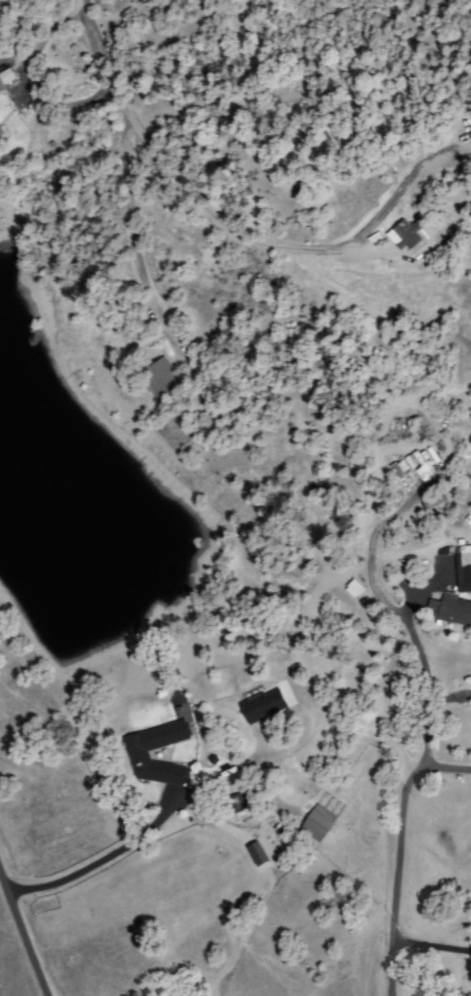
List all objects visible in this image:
road: (280, 71)
building: (7, 81)
building: (1, 88)
road: (102, 90)
building: (1, 92)
building: (408, 235)
building: (196, 367)
building: (163, 378)
building: (420, 460)
building: (397, 467)
building: (431, 499)
building: (464, 565)
building: (353, 588)
building: (453, 611)
building: (331, 668)
building: (264, 707)
building: (139, 755)
building: (239, 803)
road: (170, 819)
building: (318, 824)
road: (395, 856)
building: (340, 891)
road: (23, 936)
road: (430, 946)

